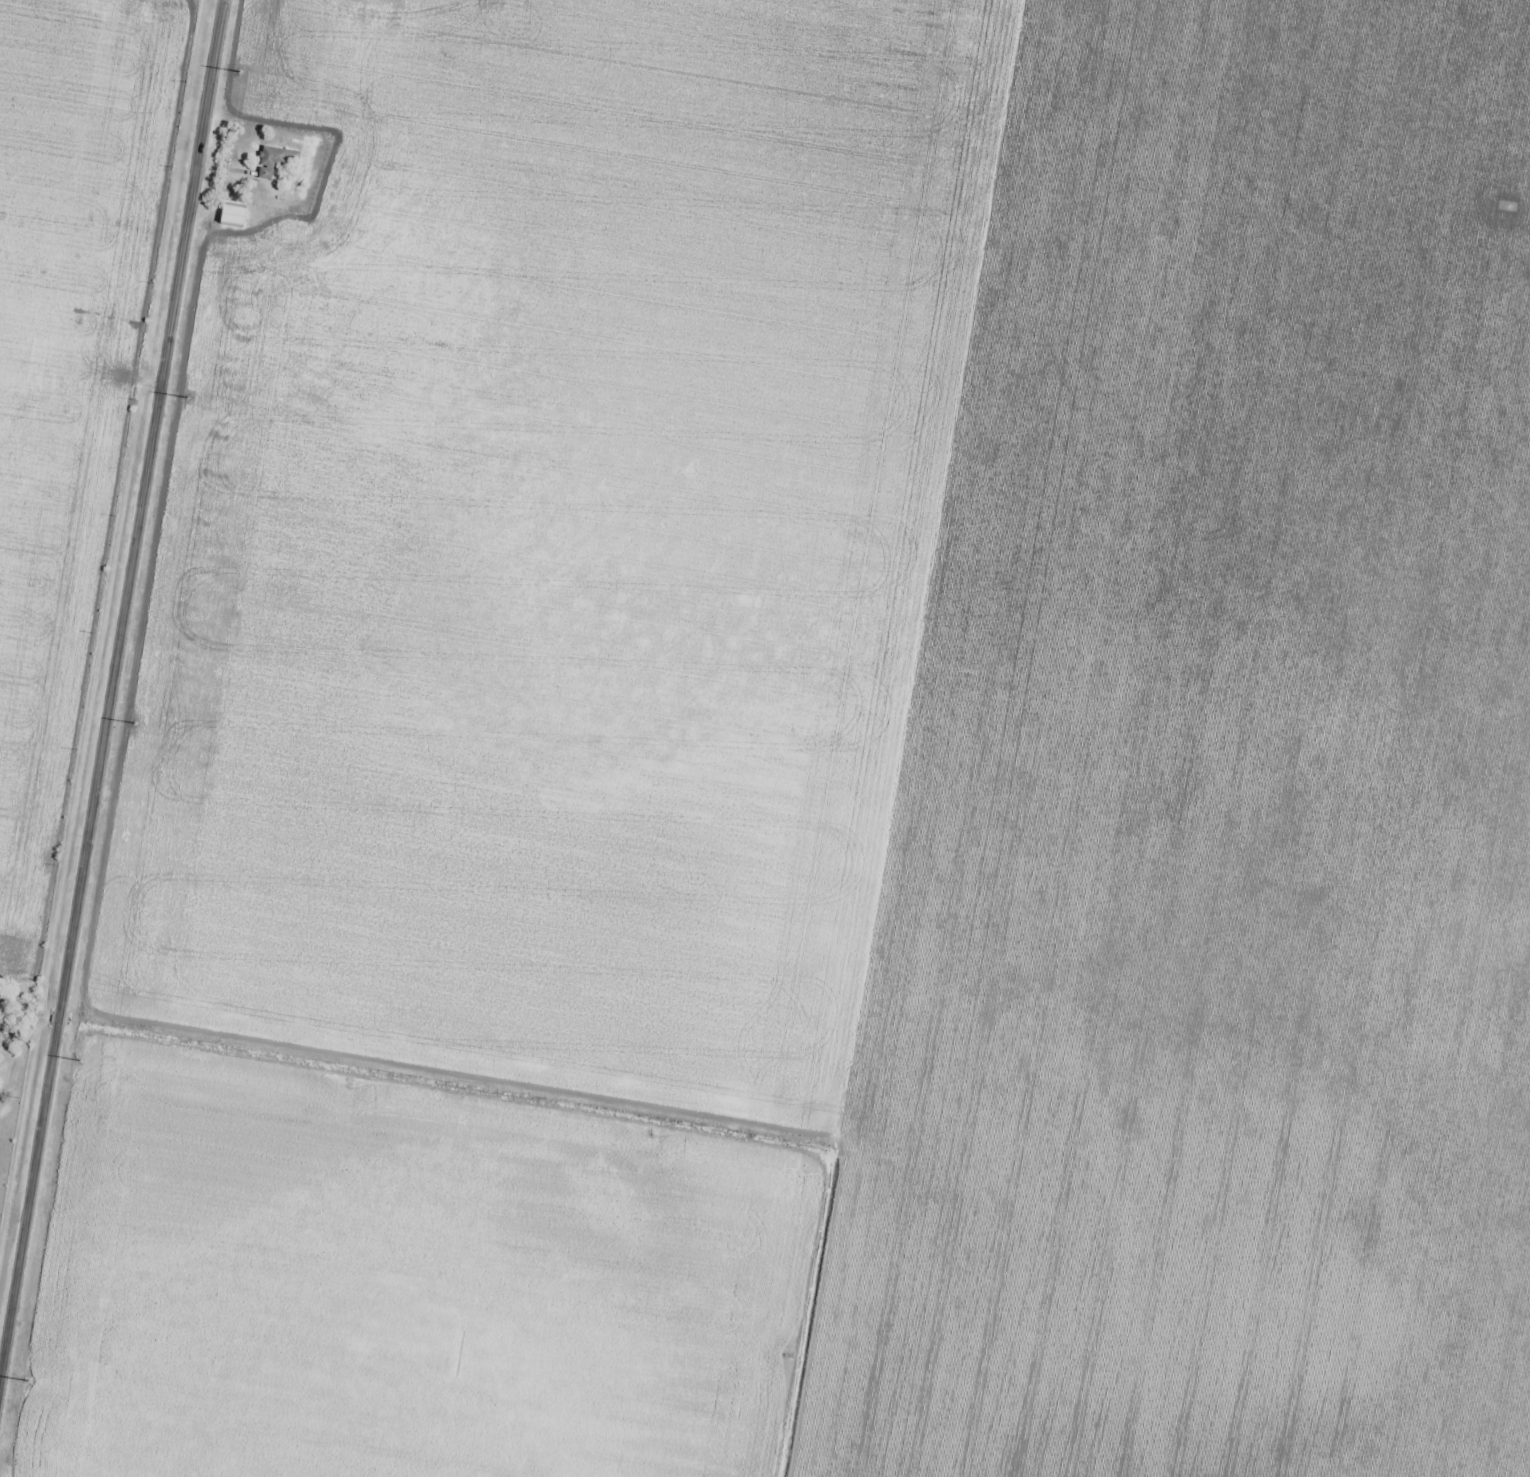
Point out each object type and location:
power tower: (236, 76)
building: (276, 161)
building: (234, 216)
power tower: (184, 403)
road: (120, 696)
power tower: (130, 730)
power tower: (78, 1056)
power tower: (26, 1384)

